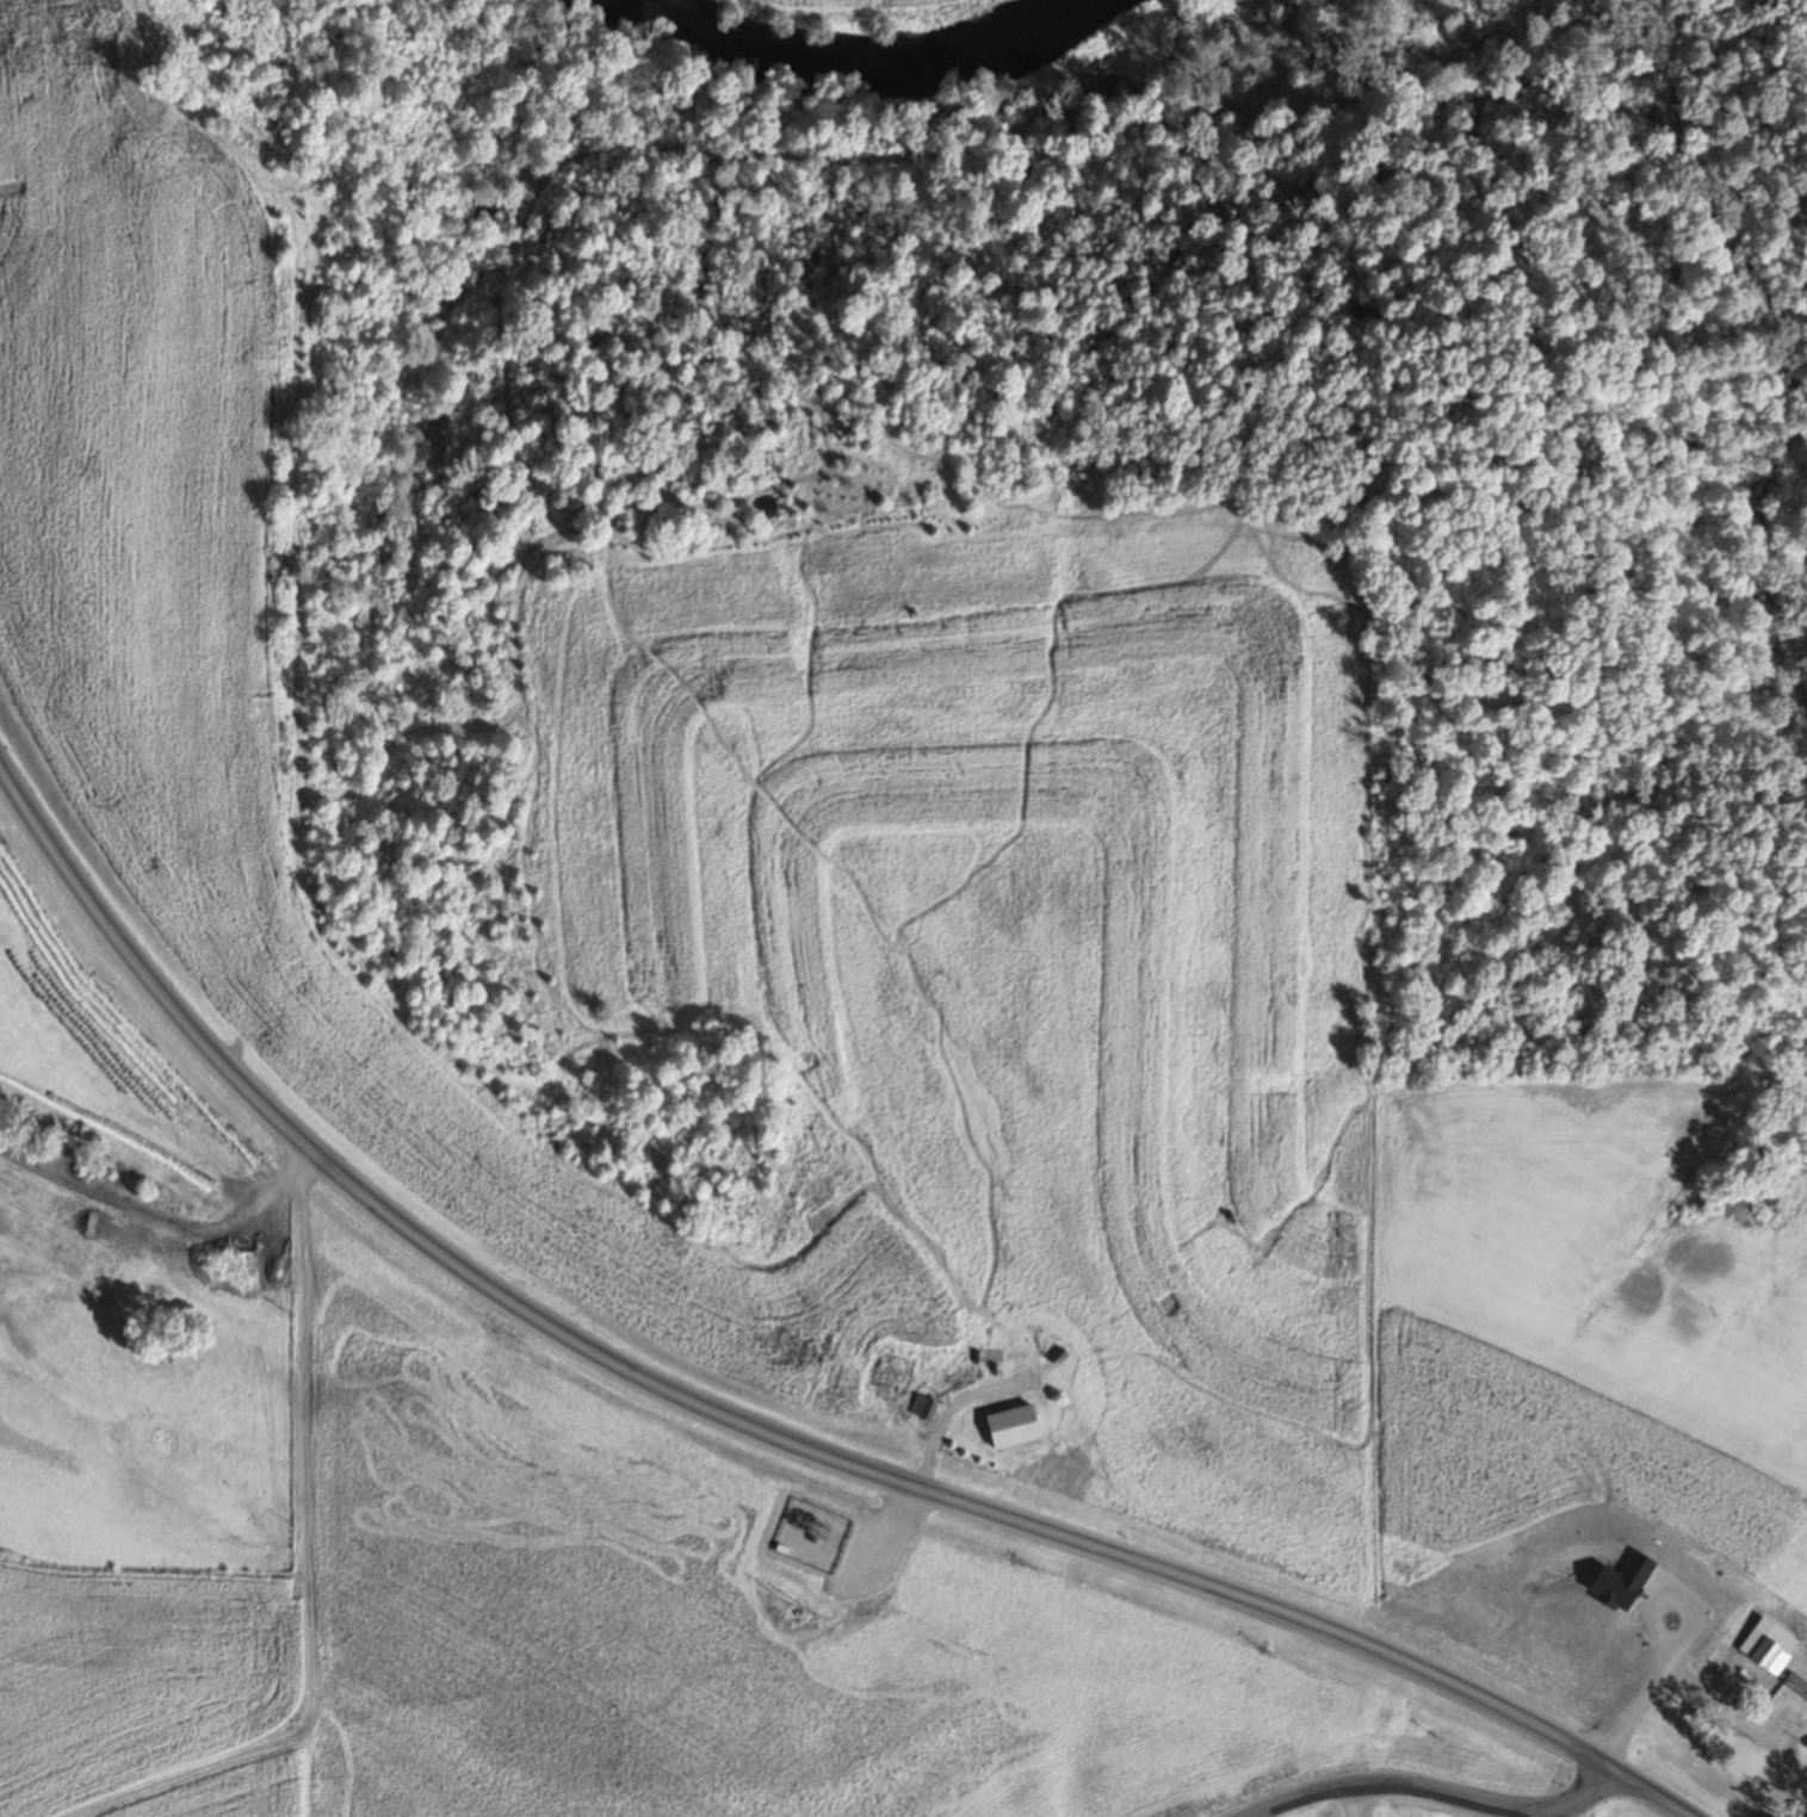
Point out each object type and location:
river: (843, 39)
road: (142, 976)
road: (163, 1213)
building: (1057, 1356)
building: (890, 1372)
building: (921, 1406)
road: (990, 1513)
power substation: (811, 1534)
building: (1766, 1645)
building: (1795, 1689)
building: (1806, 1745)
road: (1429, 1788)
road: (1337, 1798)

